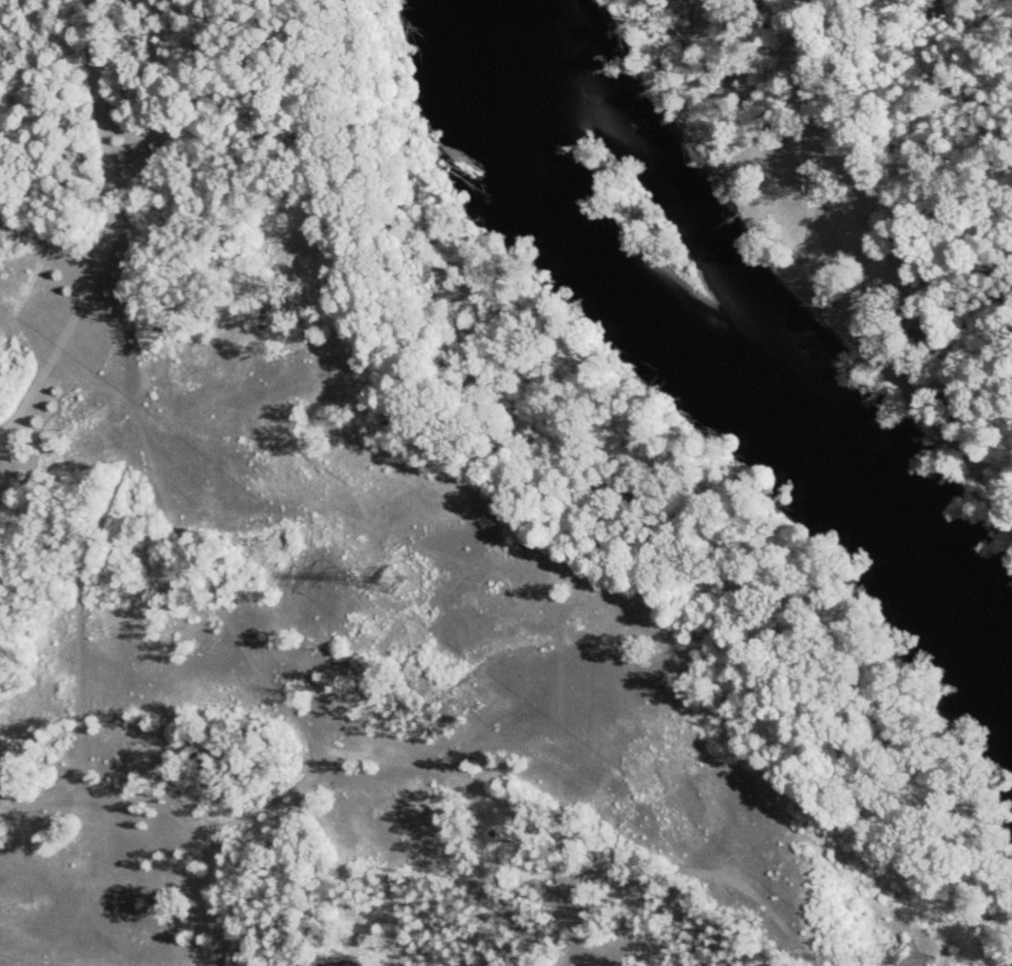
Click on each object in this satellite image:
road: (60, 331)
river: (724, 366)
road: (144, 406)
power tower: (388, 575)
power tower: (908, 957)

